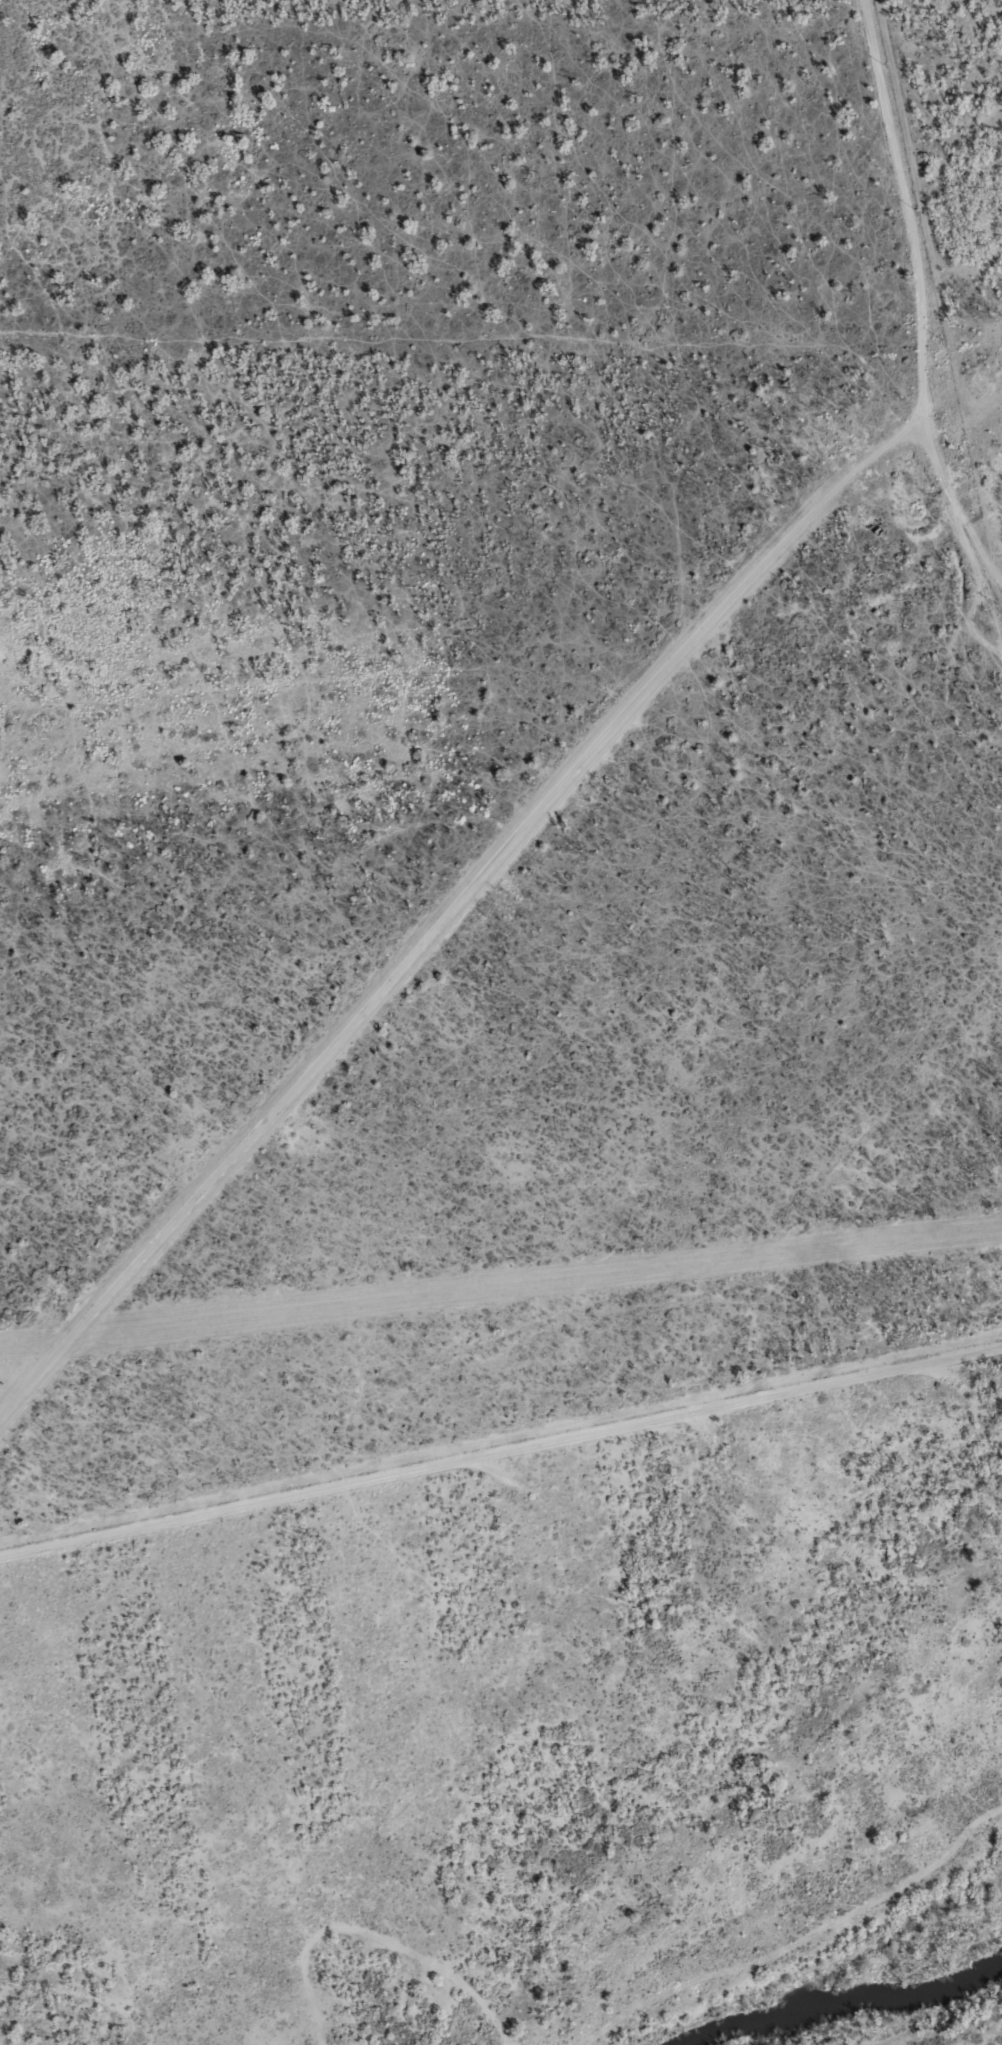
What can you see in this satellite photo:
road: (935, 170)
road: (540, 1348)
river: (843, 2002)

